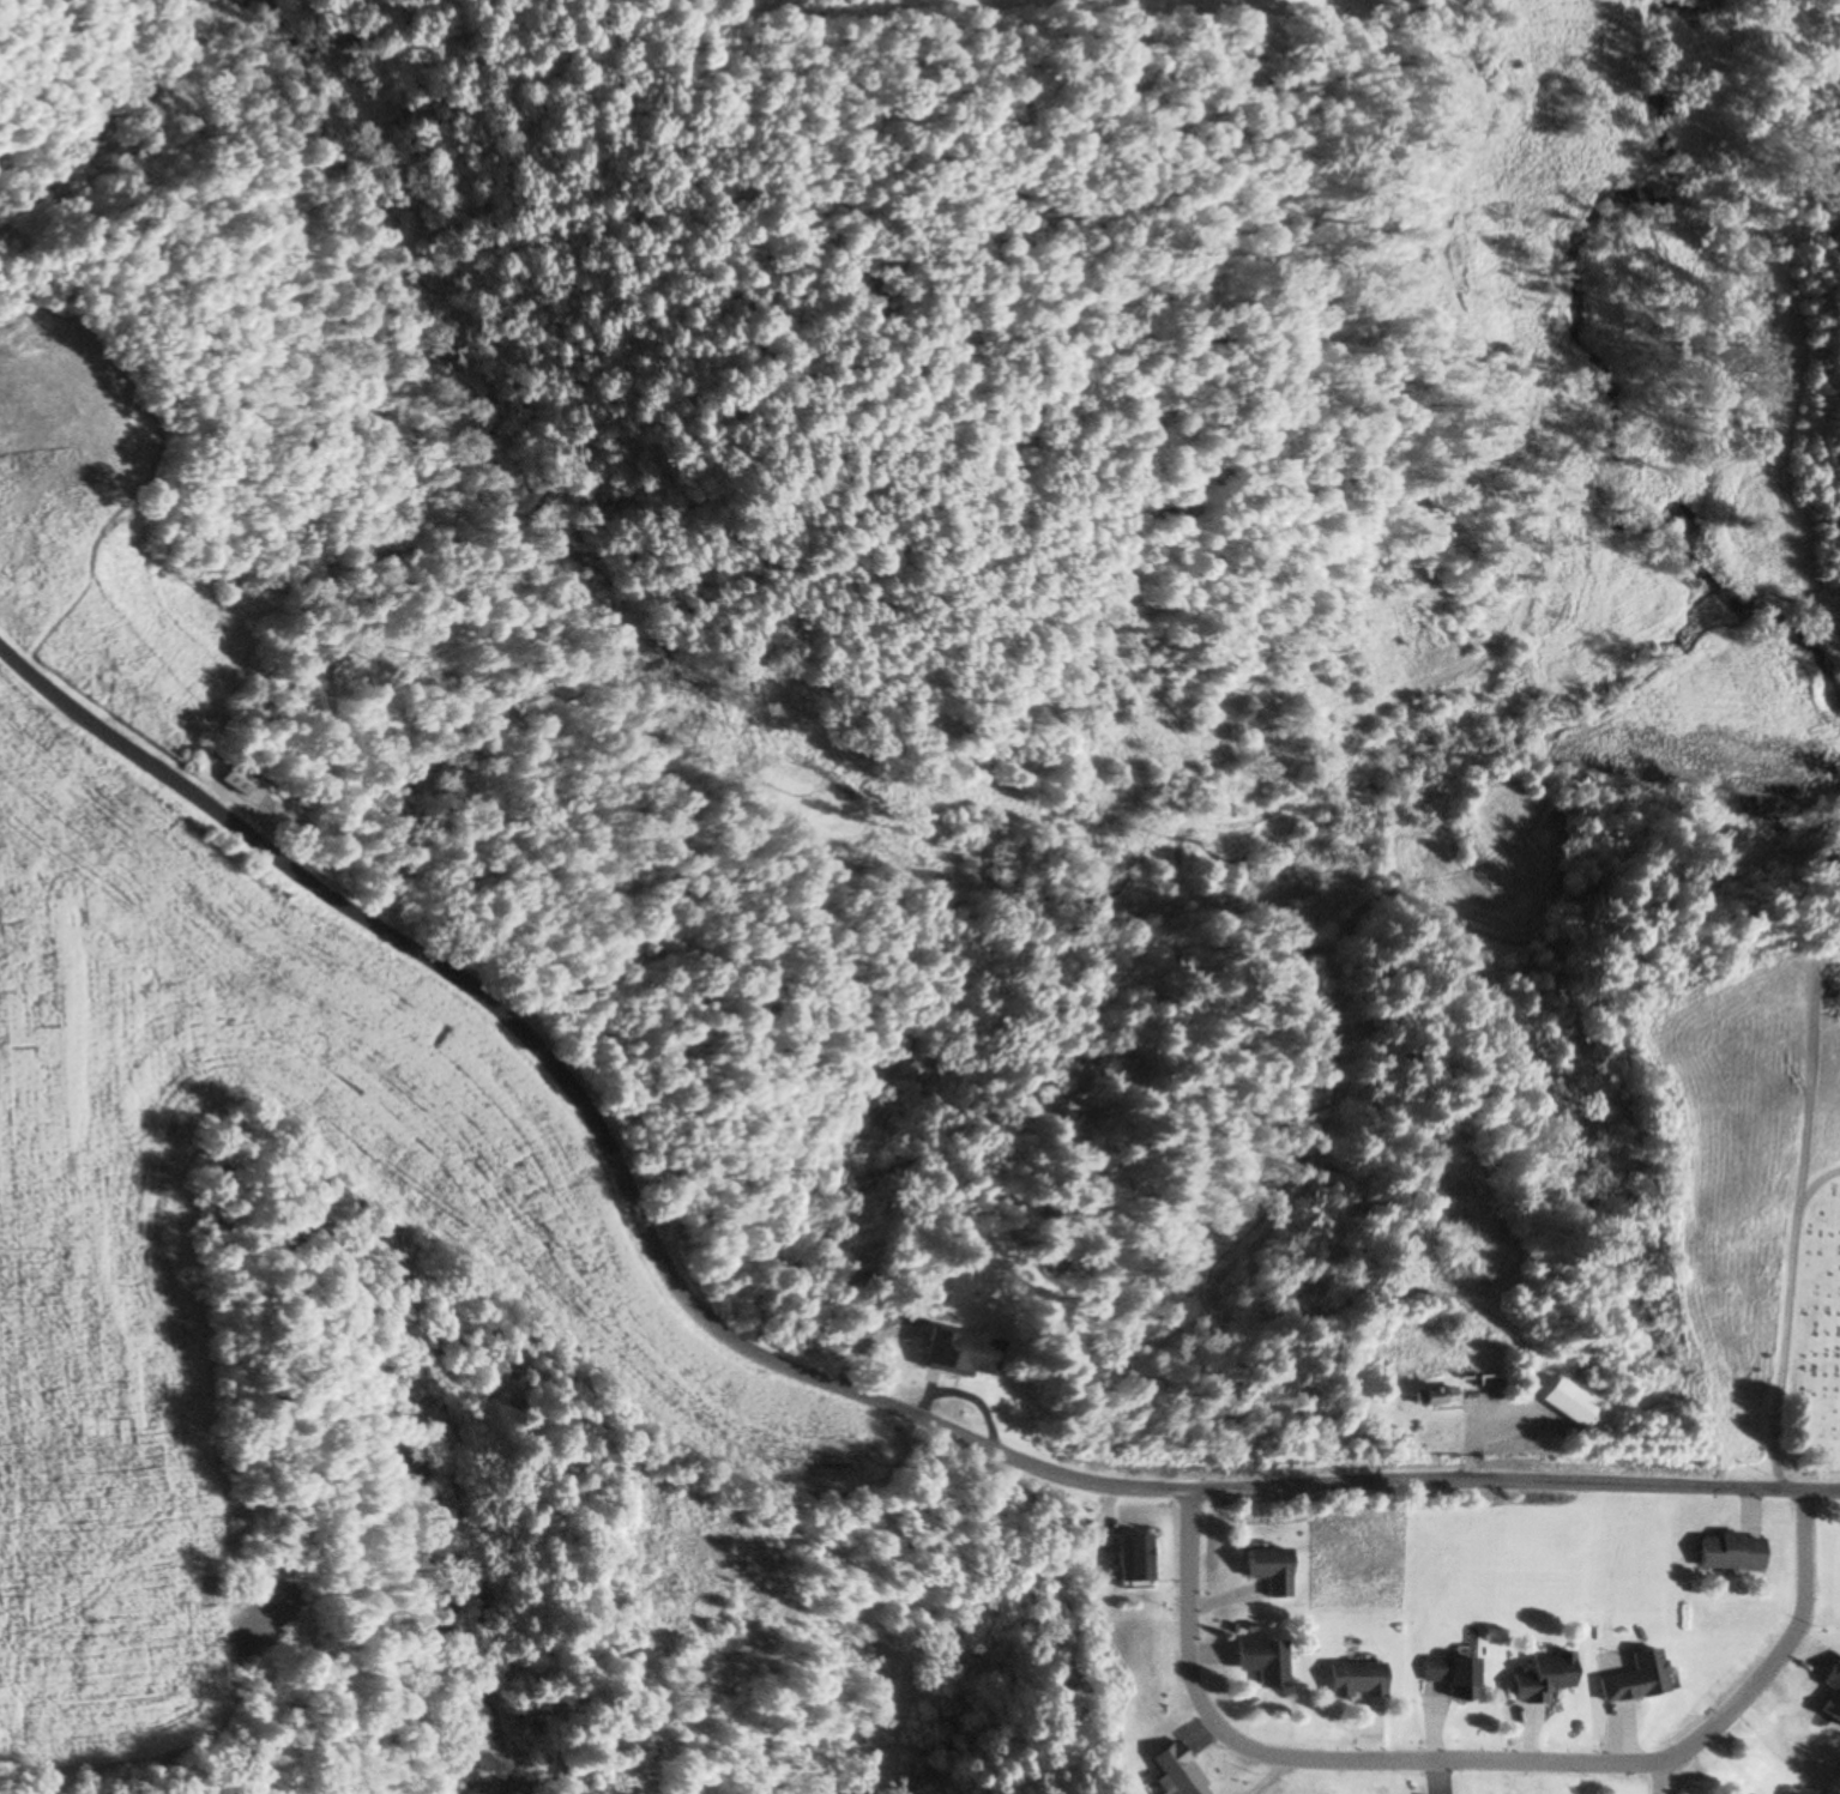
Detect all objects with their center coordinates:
road: (321, 889)
building: (1028, 1118)
park: (1806, 1331)
building: (952, 1351)
building: (1429, 1396)
road: (1159, 1487)
building: (1724, 1551)
building: (1129, 1557)
building: (1265, 1569)
building: (1256, 1660)
building: (1446, 1675)
building: (1537, 1677)
building: (1631, 1678)
building: (1349, 1679)
road: (1472, 1760)
building: (1162, 1770)
building: (465, 1793)

